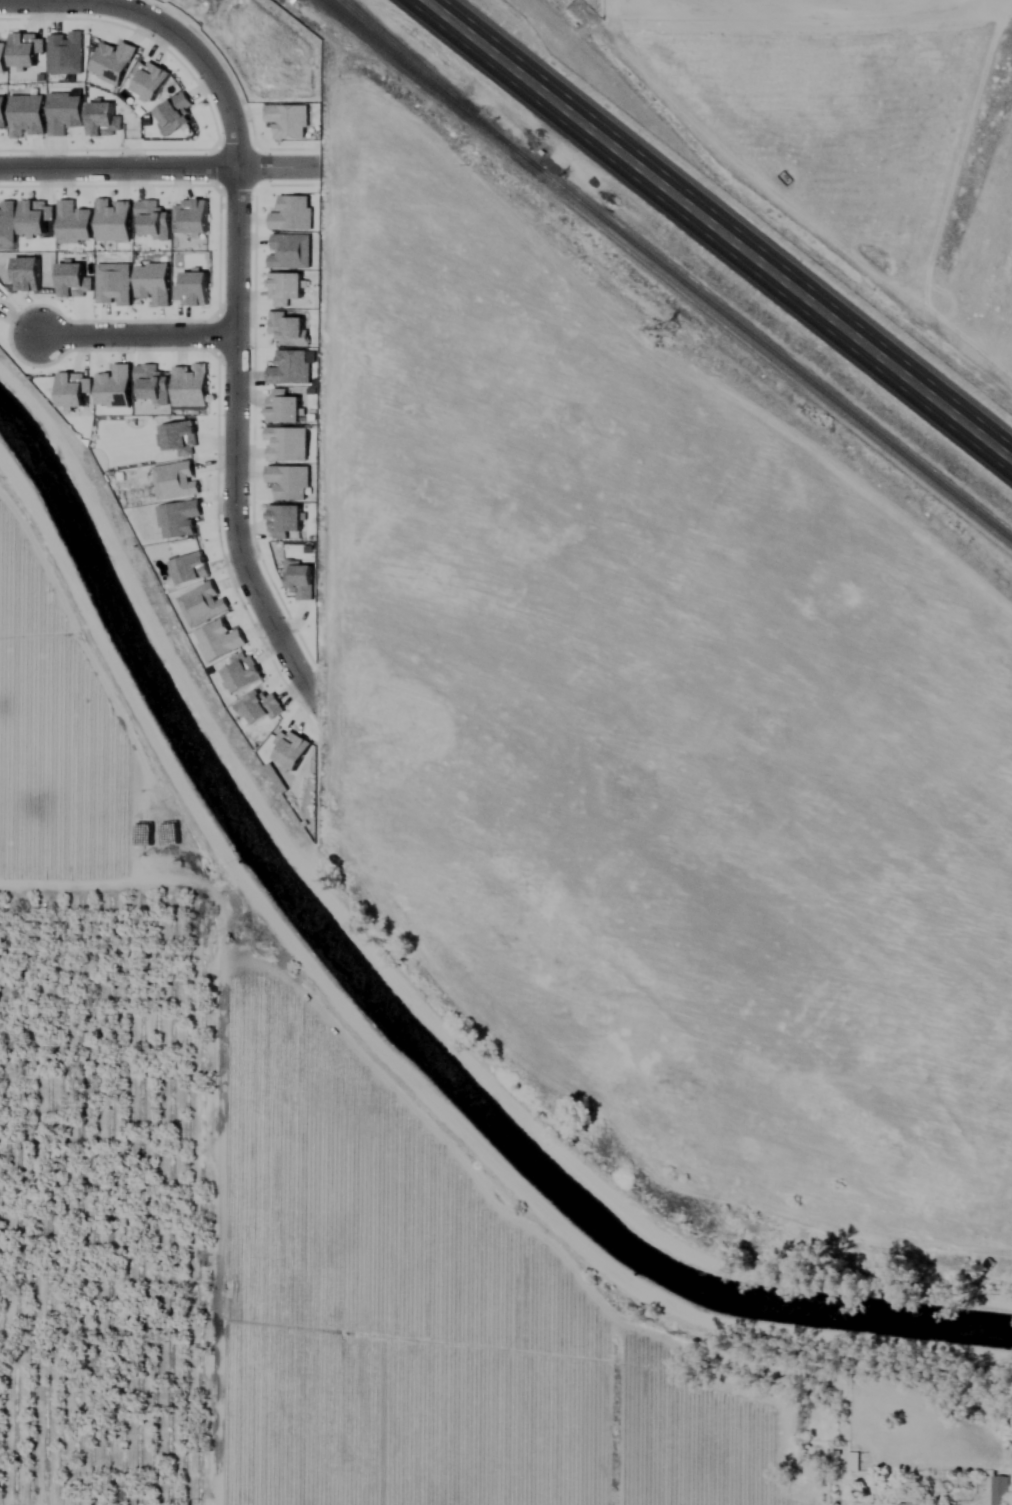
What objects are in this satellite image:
railway: (420, 76)
railway: (429, 76)
road: (159, 172)
road: (718, 230)
road: (236, 271)
power tower: (677, 321)
road: (137, 337)
railway: (765, 346)
crop: (611, 929)
building: (853, 1462)
building: (1000, 1491)

